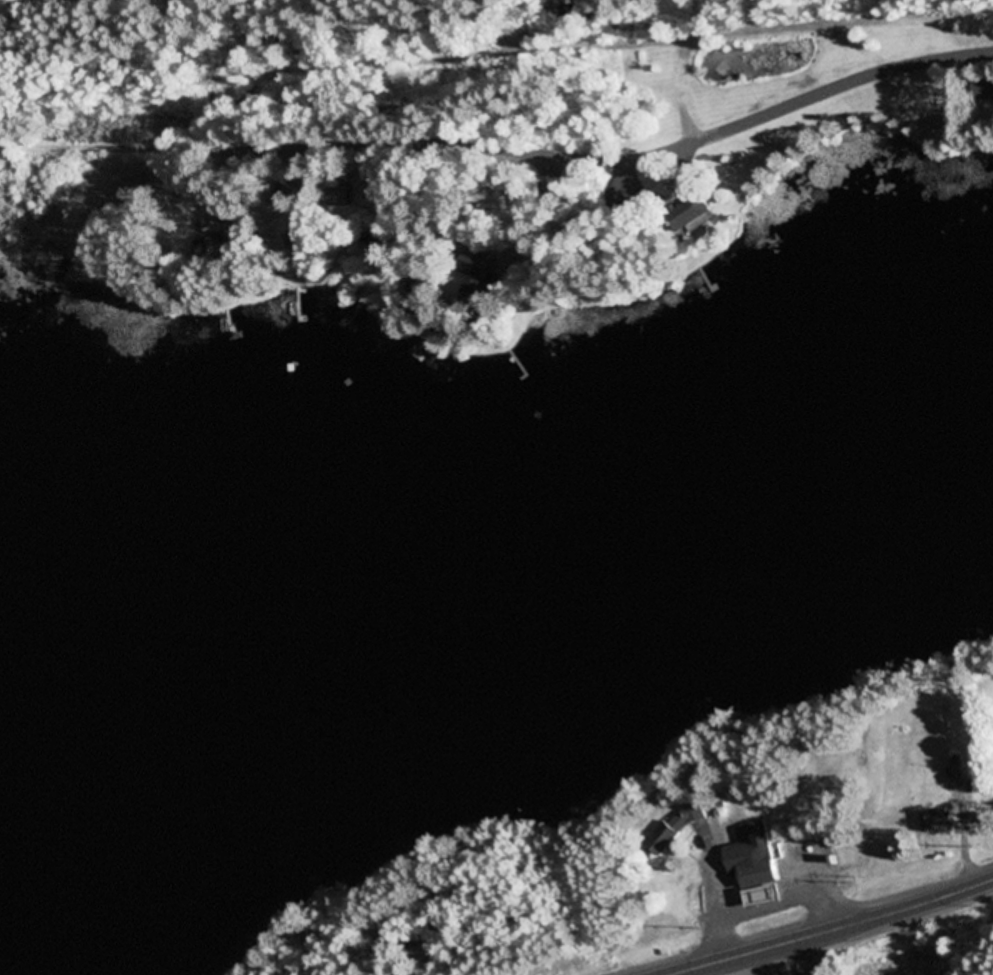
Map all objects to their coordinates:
road: (58, 0)
road: (845, 24)
road: (676, 89)
building: (984, 90)
road: (613, 160)
building: (554, 191)
building: (341, 197)
building: (691, 216)
building: (383, 245)
building: (474, 265)
building: (940, 819)
building: (676, 830)
building: (750, 852)
road: (837, 931)

